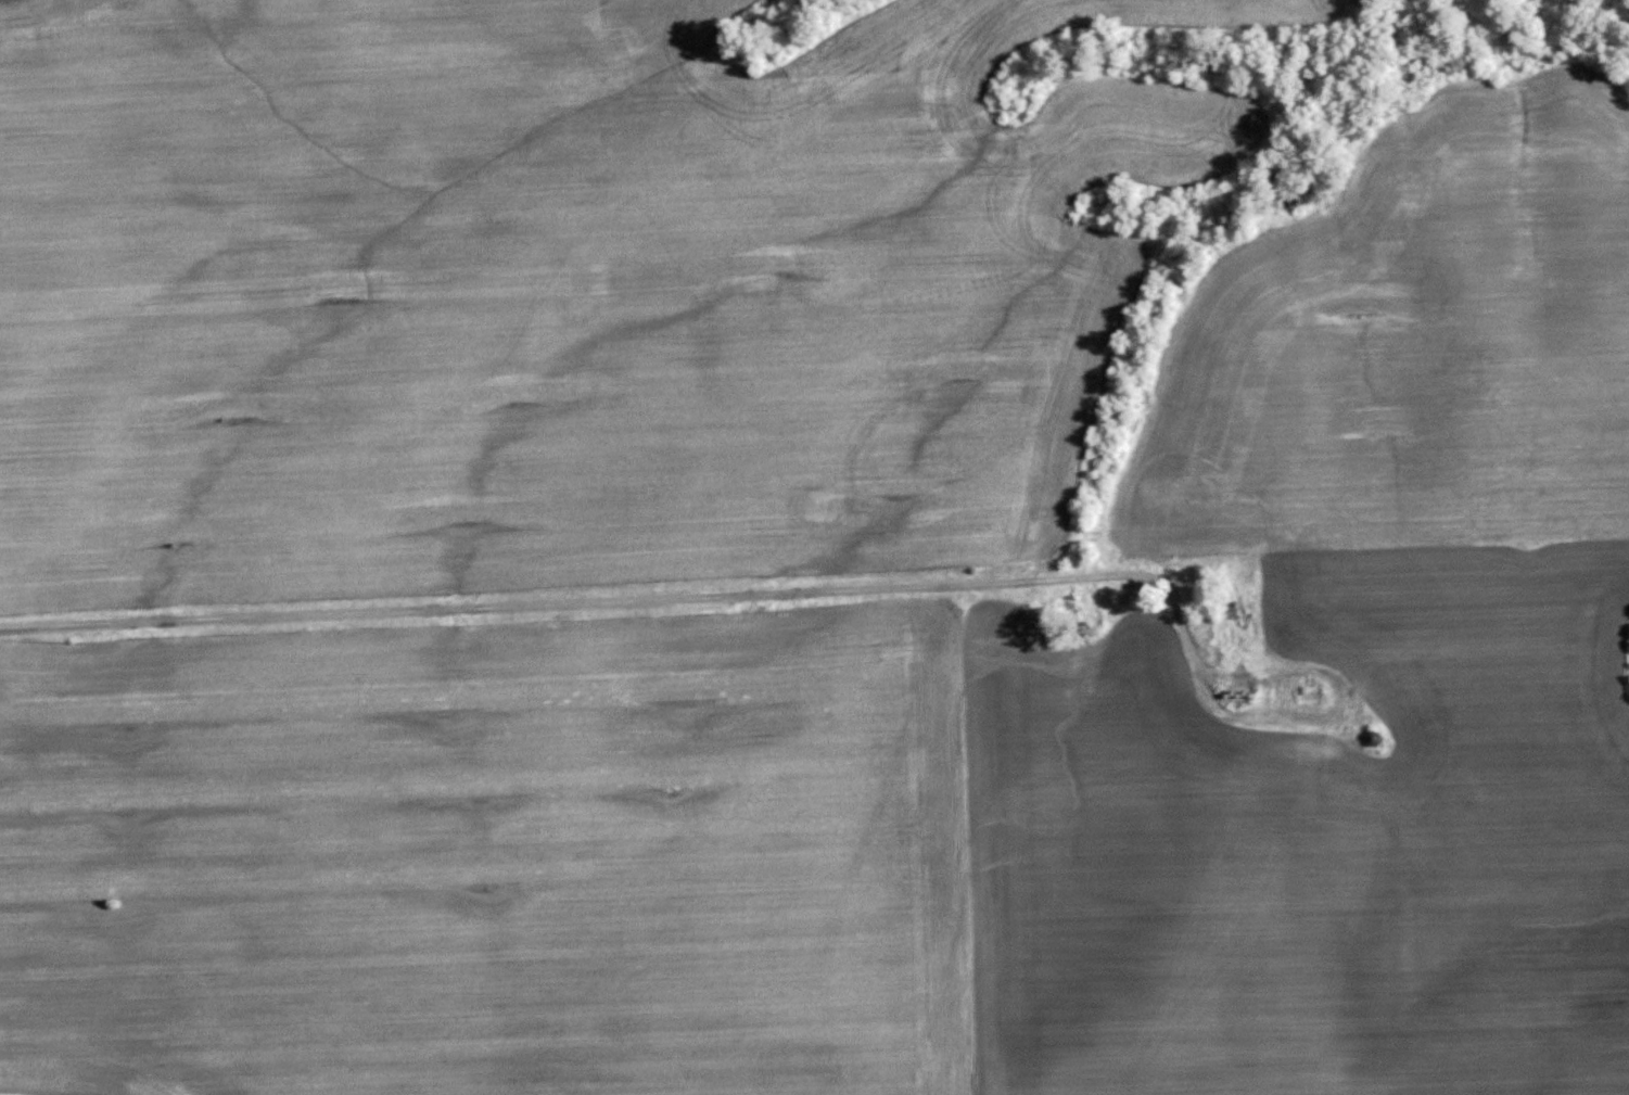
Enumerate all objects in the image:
building: (1309, 693)

